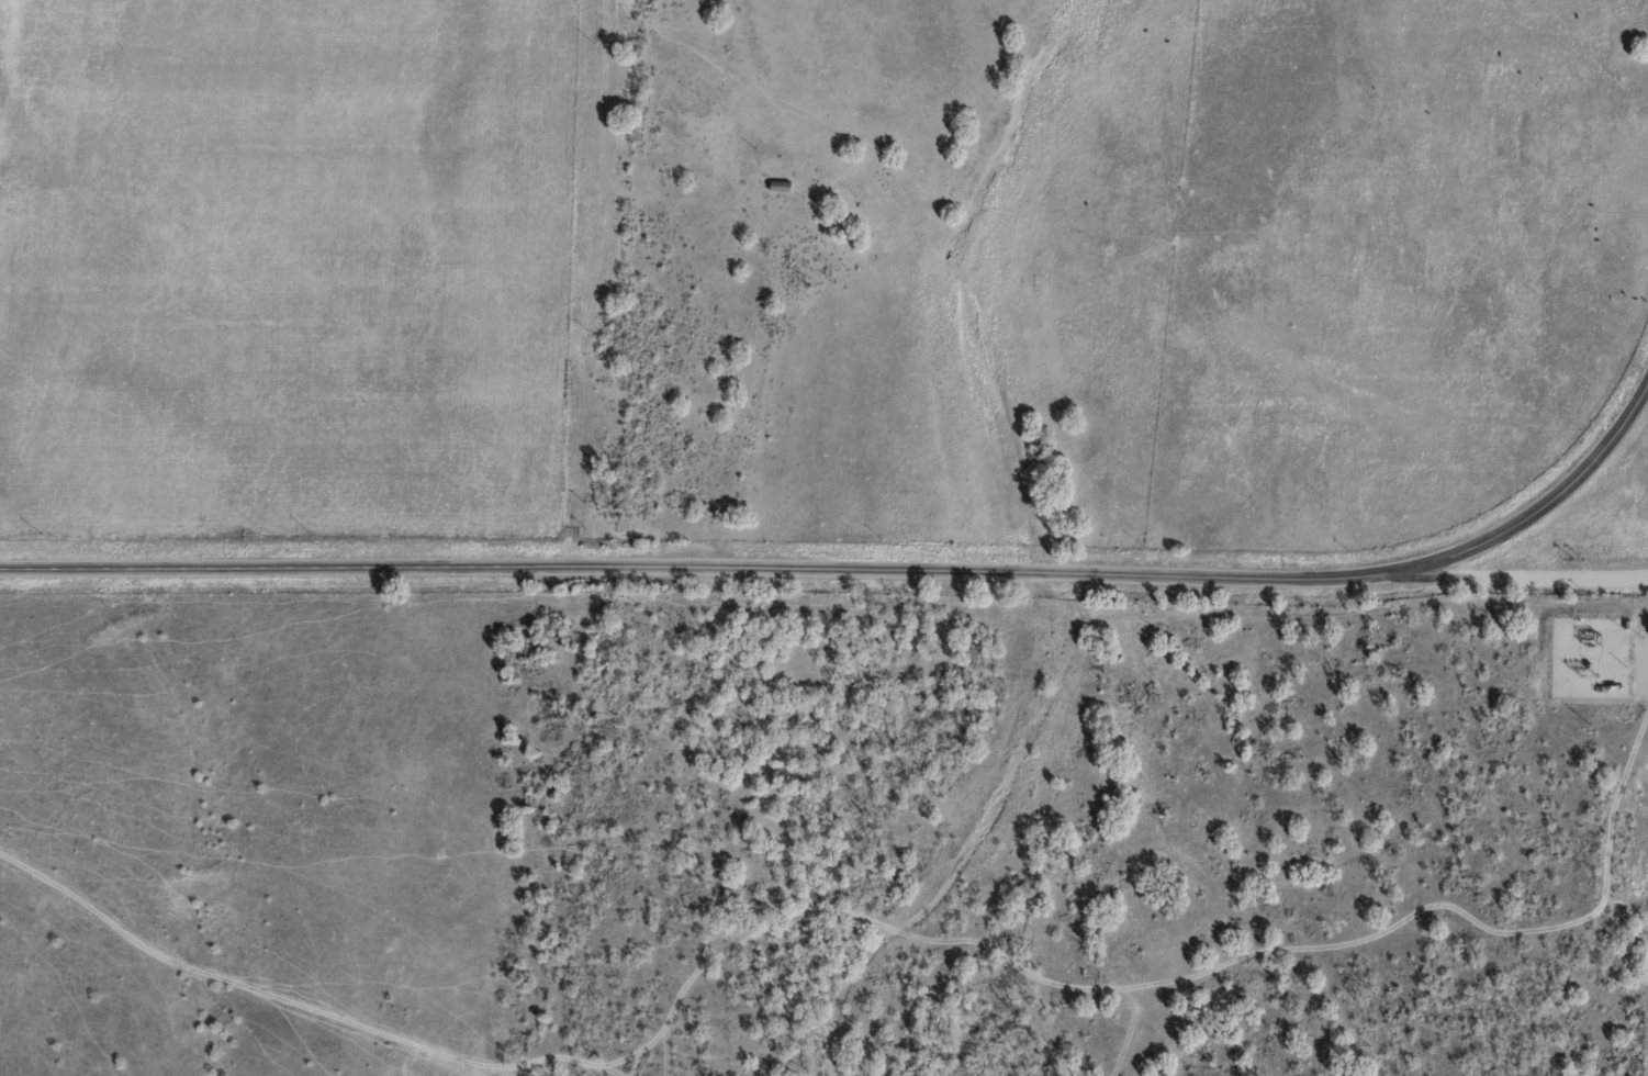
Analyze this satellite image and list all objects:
road: (861, 571)
road: (1528, 575)
power substation: (1590, 657)

